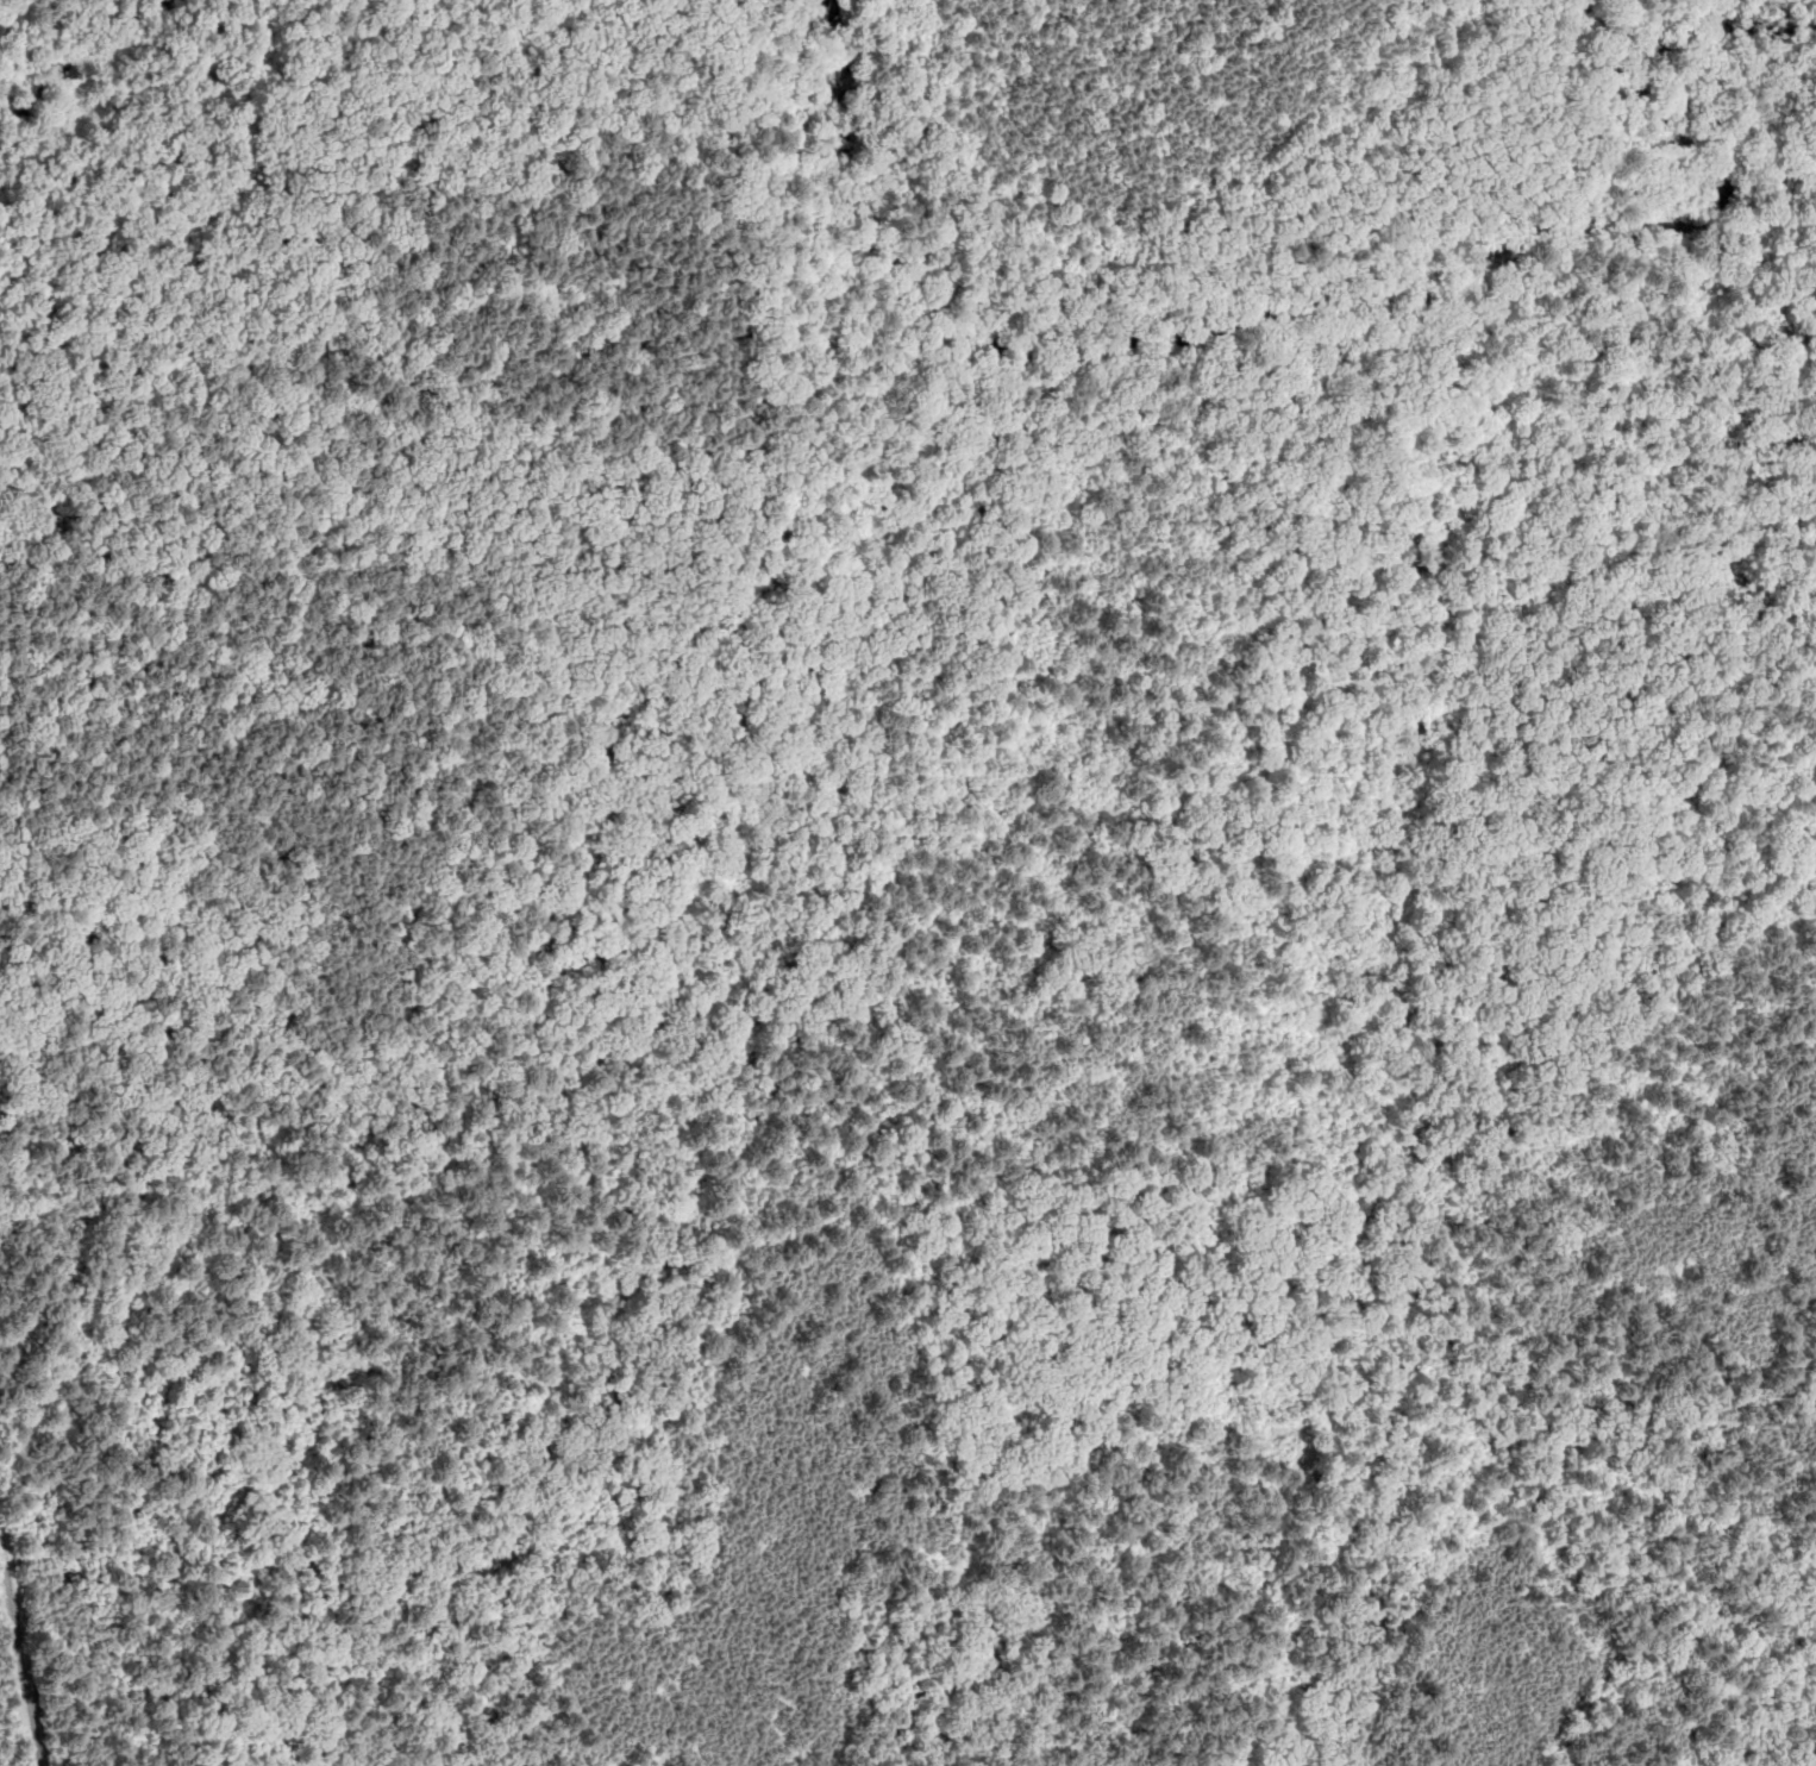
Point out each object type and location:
road: (23, 1654)

